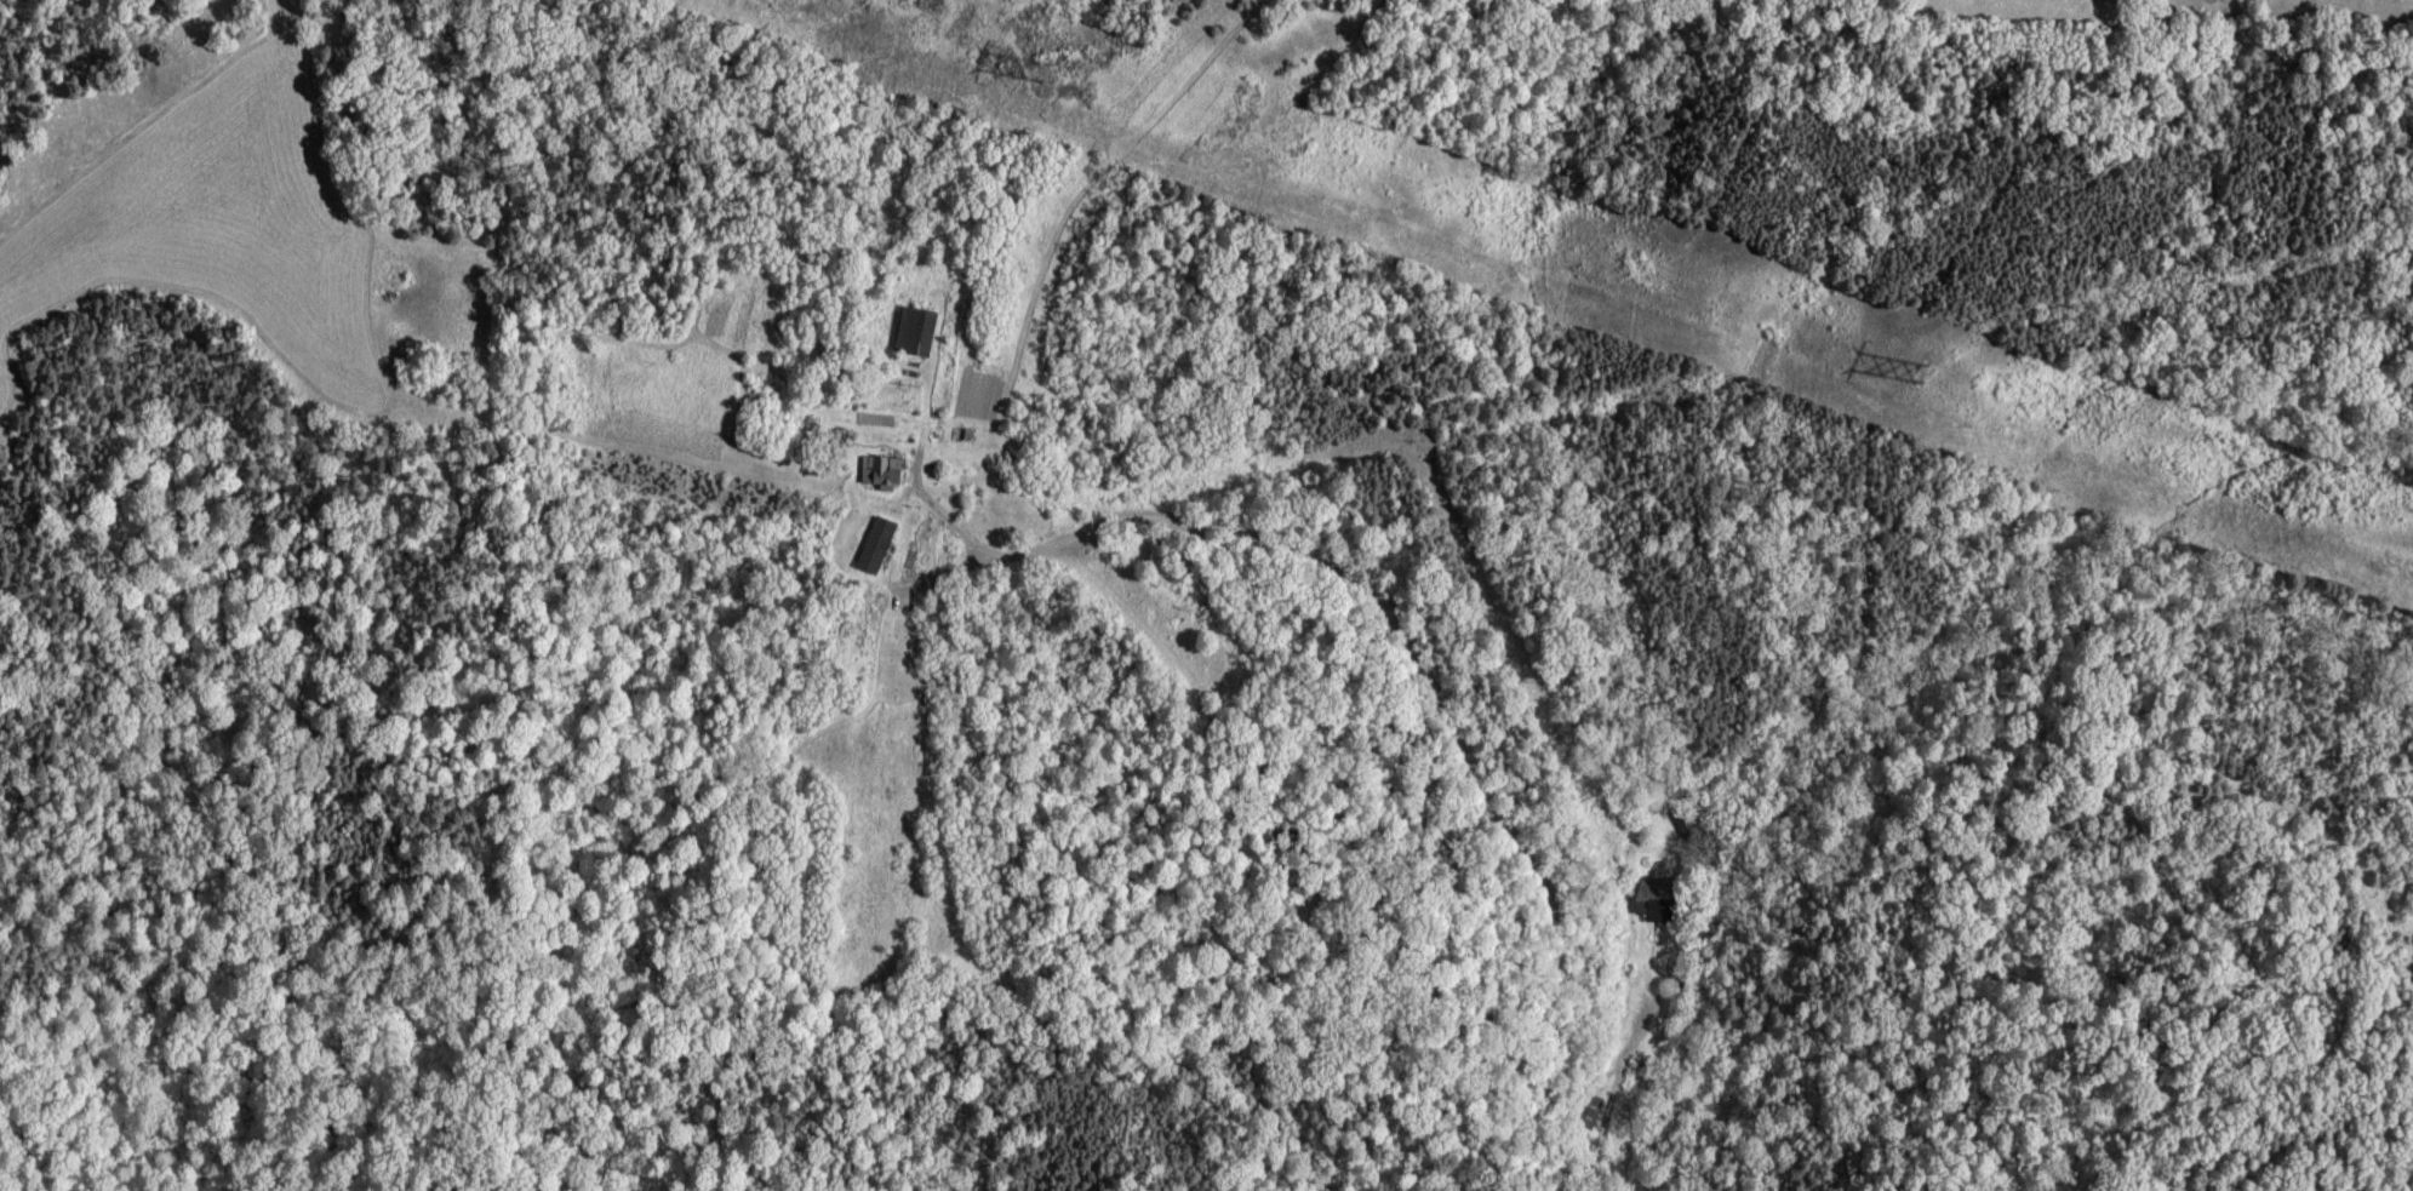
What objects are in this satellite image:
power tower: (1047, 74)
building: (917, 330)
power tower: (1922, 374)
building: (876, 545)
road: (1418, 642)
road: (1624, 1044)

